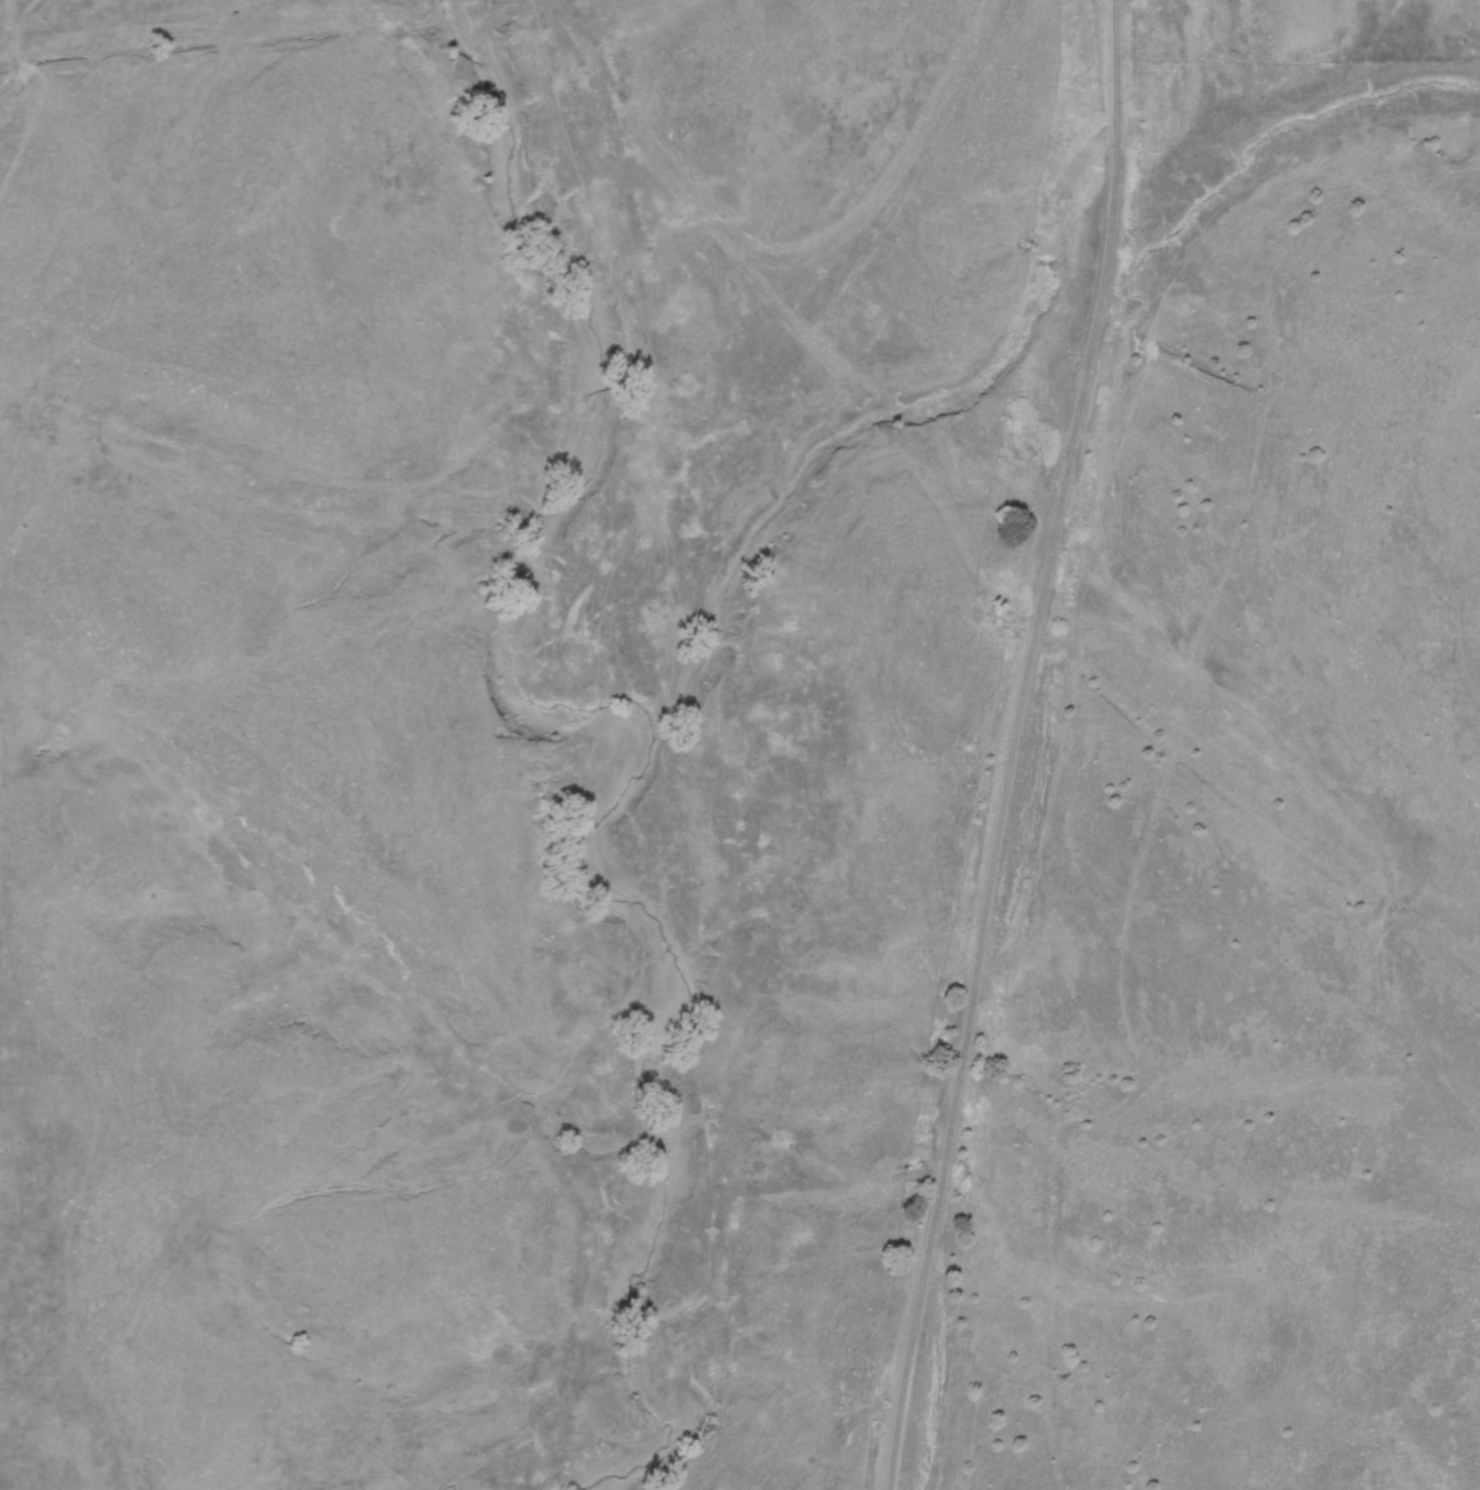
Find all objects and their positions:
railway: (1013, 746)

